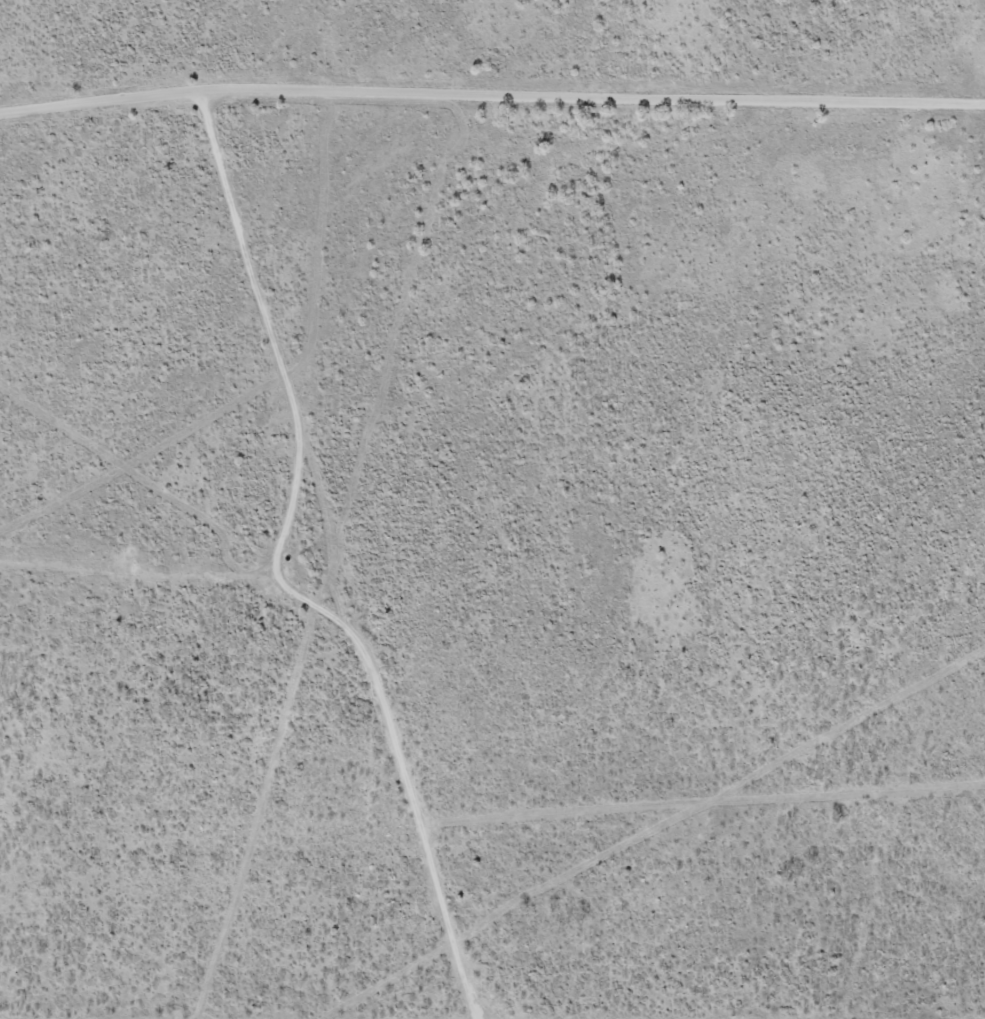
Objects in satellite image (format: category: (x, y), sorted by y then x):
road: (491, 96)
road: (282, 579)

